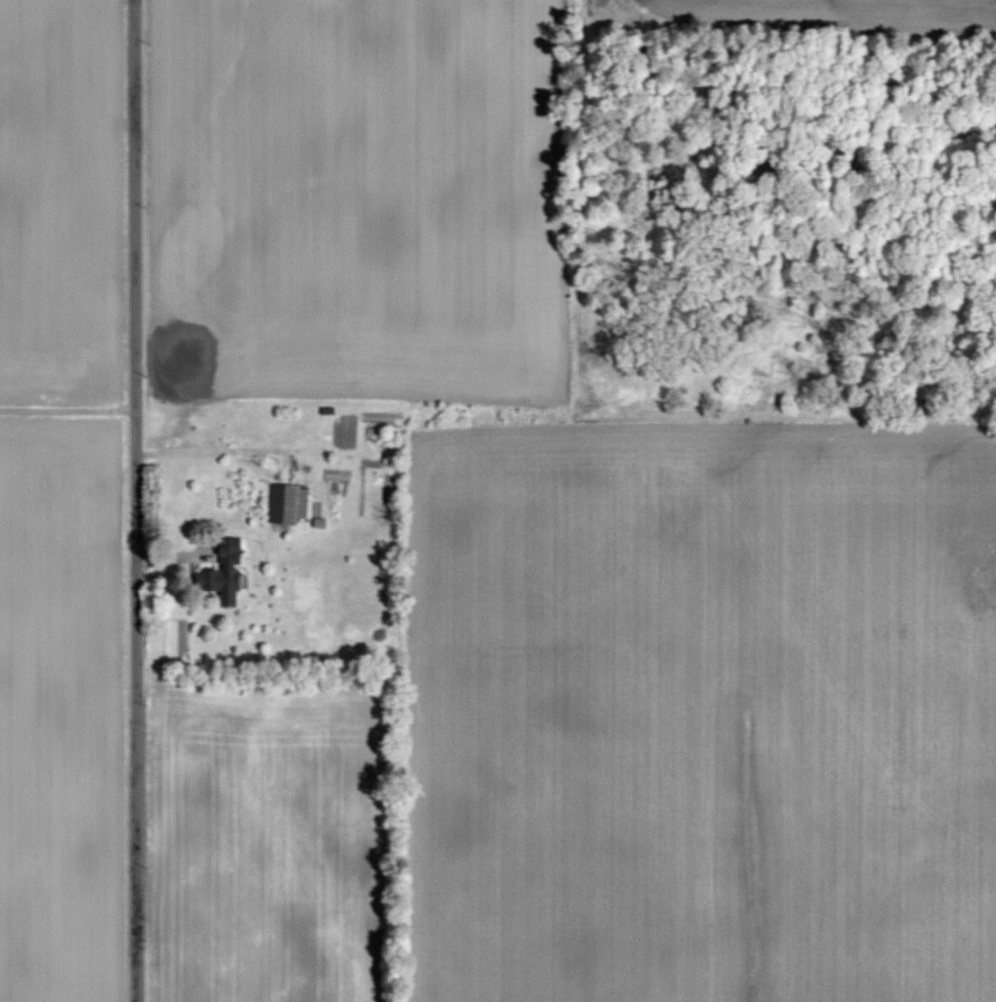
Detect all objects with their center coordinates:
building: (240, 433)
road: (205, 454)
road: (134, 501)
building: (283, 503)
building: (224, 572)

